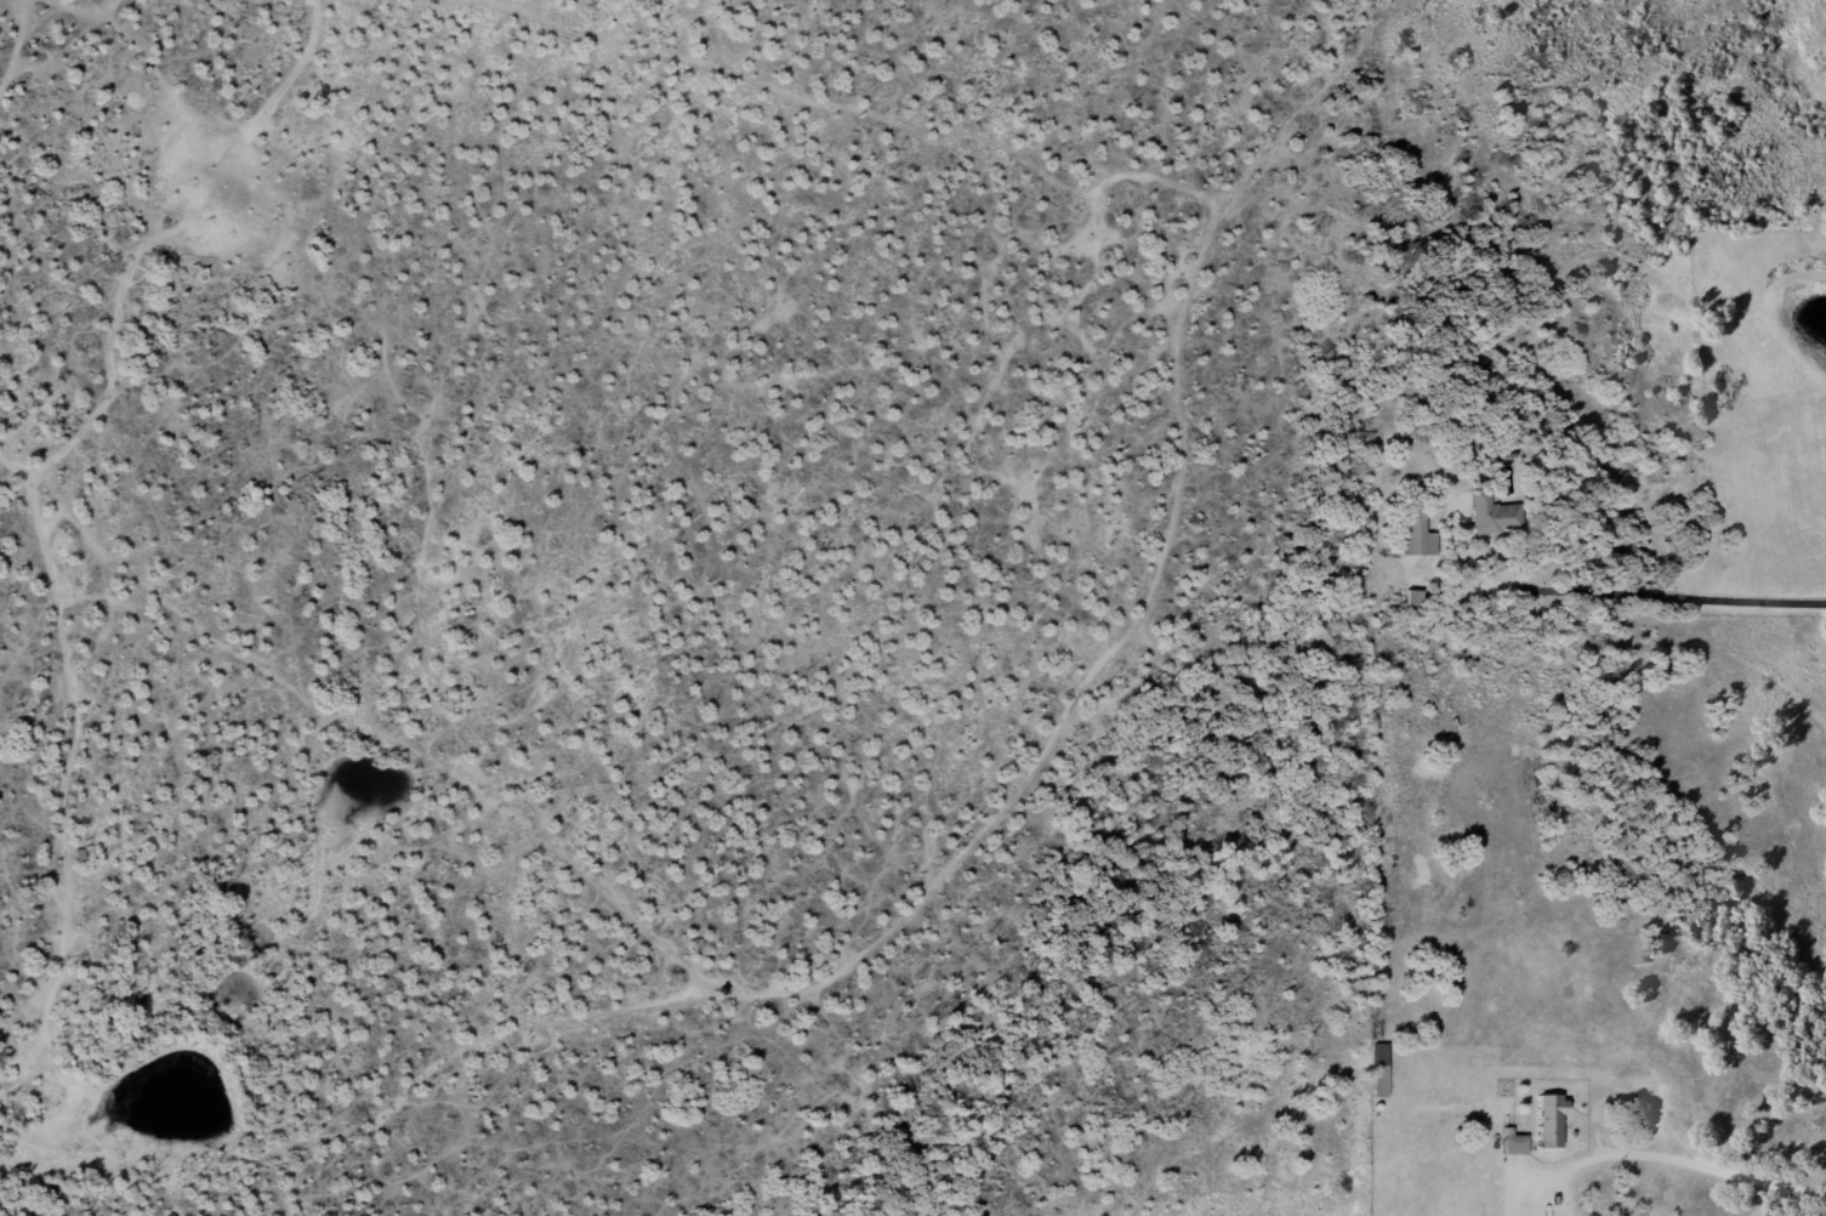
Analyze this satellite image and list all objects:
building: (1492, 521)
building: (1413, 540)
building: (1378, 1085)
building: (1548, 1126)
building: (1512, 1149)
road: (1706, 1159)

